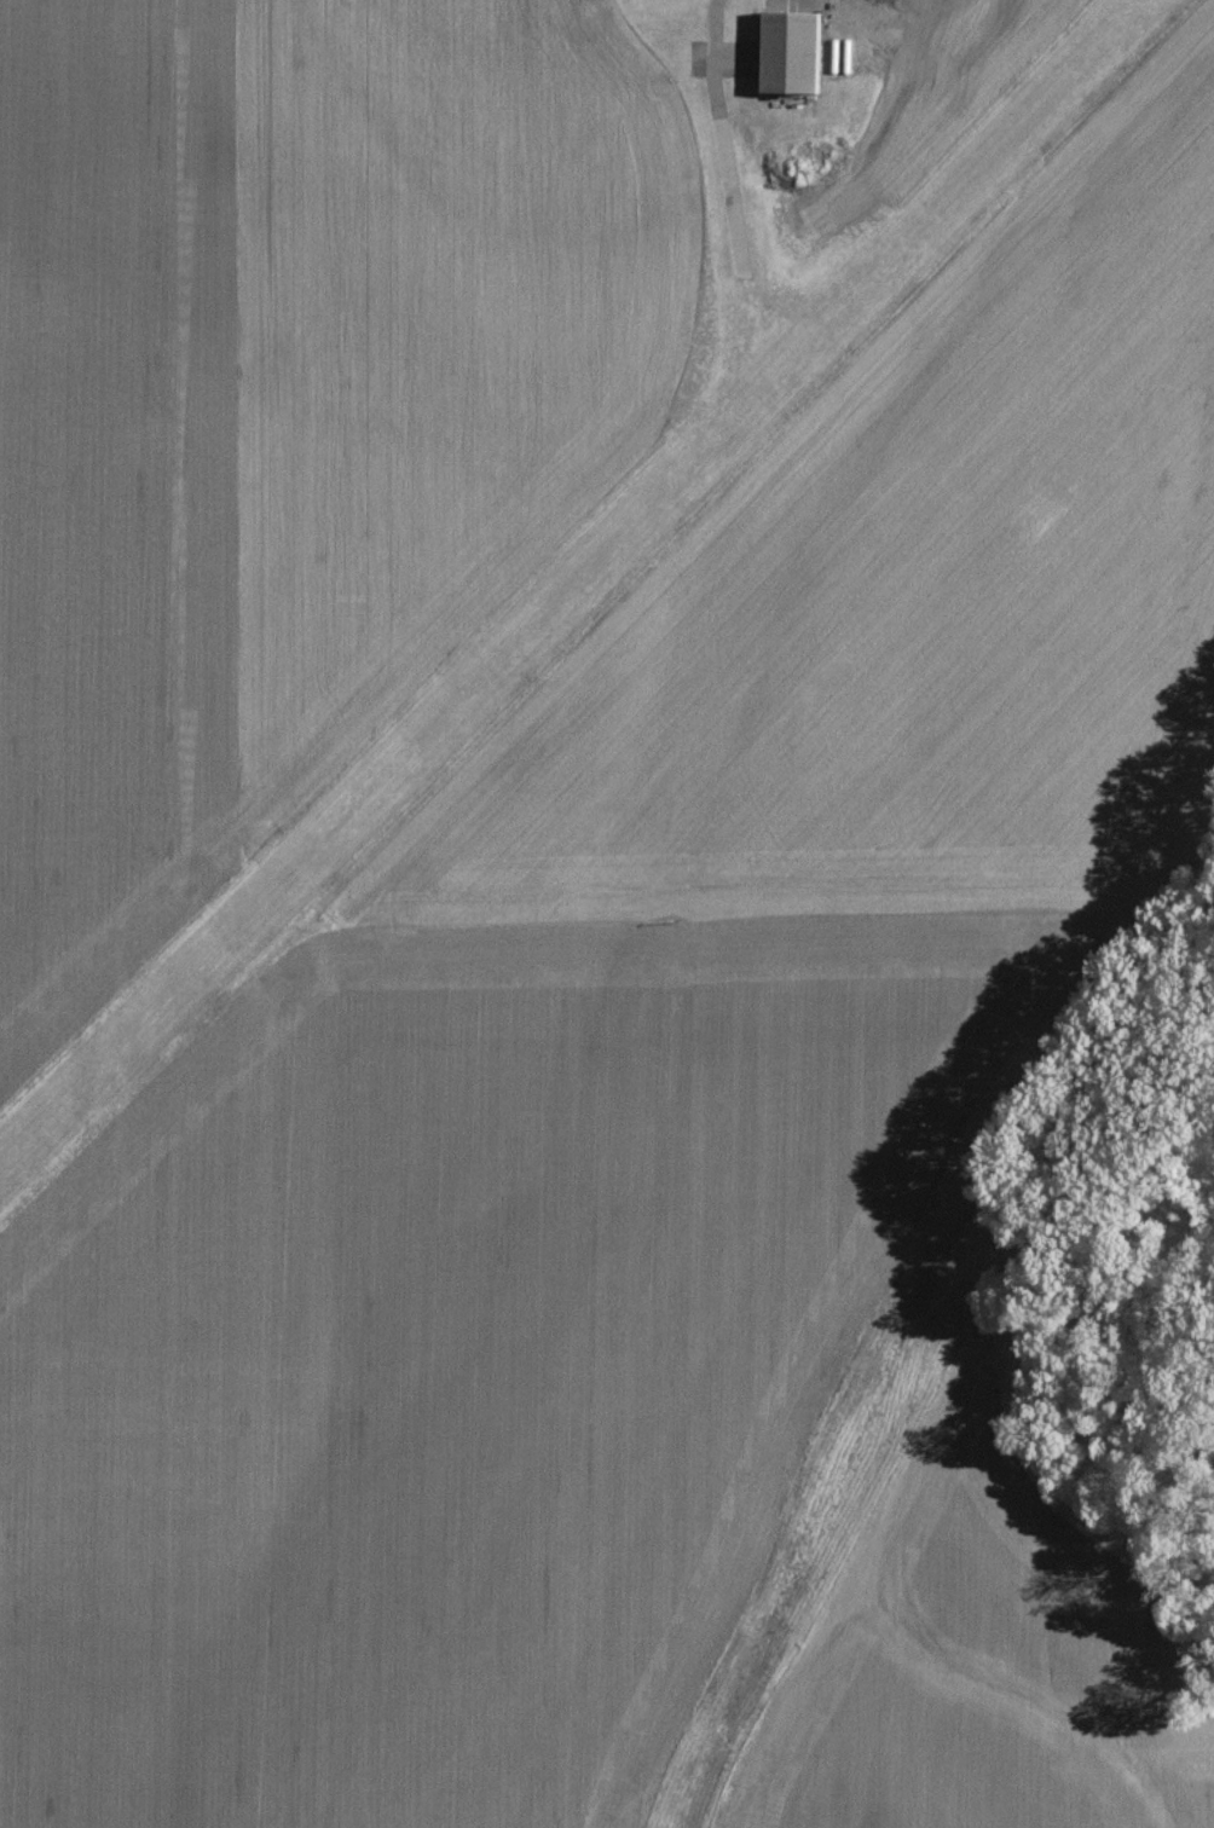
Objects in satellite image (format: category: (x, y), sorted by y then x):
building: (782, 52)

